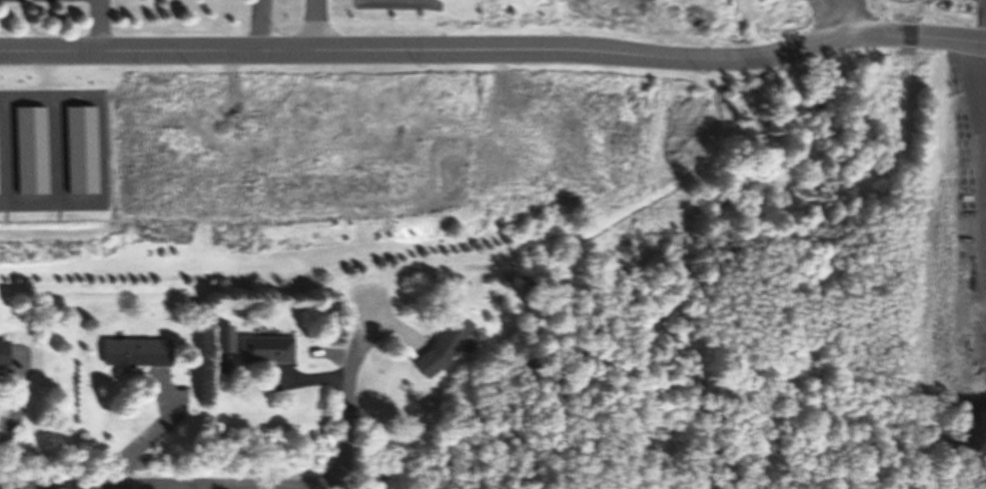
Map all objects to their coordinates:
road: (495, 47)
building: (446, 336)
building: (264, 348)
building: (133, 350)
building: (2, 354)
road: (345, 405)
road: (164, 481)

